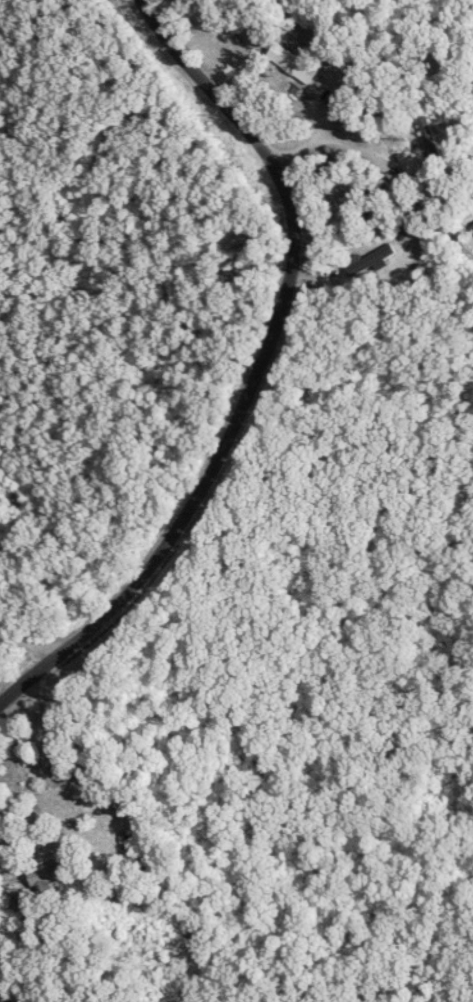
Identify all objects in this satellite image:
building: (303, 68)
road: (386, 202)
building: (372, 259)
road: (290, 387)
road: (38, 647)
building: (50, 877)

